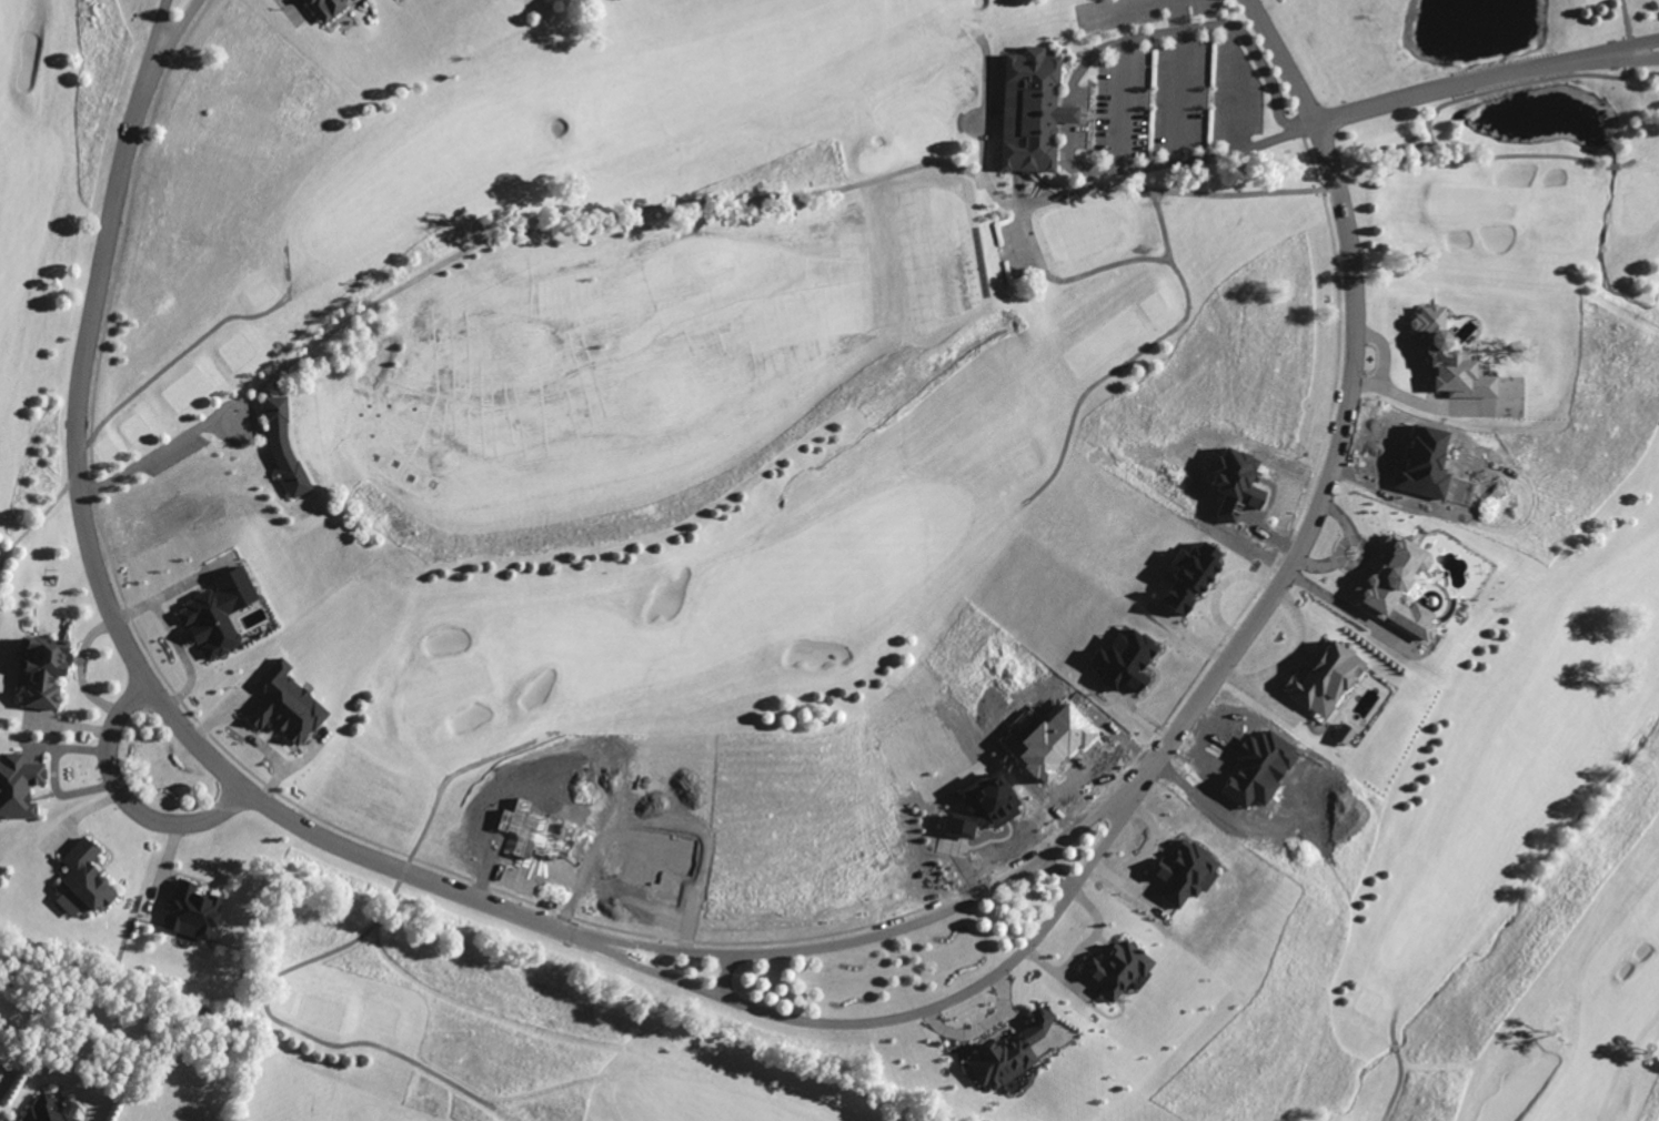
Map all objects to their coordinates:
building: (325, 9)
road: (1179, 13)
road: (154, 39)
road: (171, 39)
road: (1621, 49)
road: (1621, 58)
road: (1070, 84)
road: (1449, 84)
road: (1467, 98)
parking lot: (1123, 108)
building: (1028, 110)
road: (1305, 124)
road: (1386, 147)
road: (984, 174)
road: (1337, 182)
road: (1236, 193)
road: (592, 226)
road: (1072, 277)
road: (1164, 334)
building: (1450, 358)
road: (1349, 400)
park: (734, 403)
road: (121, 404)
road: (230, 438)
building: (283, 445)
road: (150, 458)
building: (1198, 570)
building: (1396, 586)
building: (218, 613)
road: (124, 639)
building: (1124, 659)
building: (41, 669)
building: (1326, 681)
building: (284, 704)
building: (19, 785)
road: (125, 798)
building: (983, 806)
park: (1520, 850)
road: (1058, 871)
building: (1184, 872)
building: (81, 880)
building: (191, 912)
road: (894, 929)
road: (324, 955)
building: (1116, 968)
road: (725, 974)
road: (919, 1010)
road: (1394, 1029)
building: (1017, 1049)
road: (1397, 1088)

